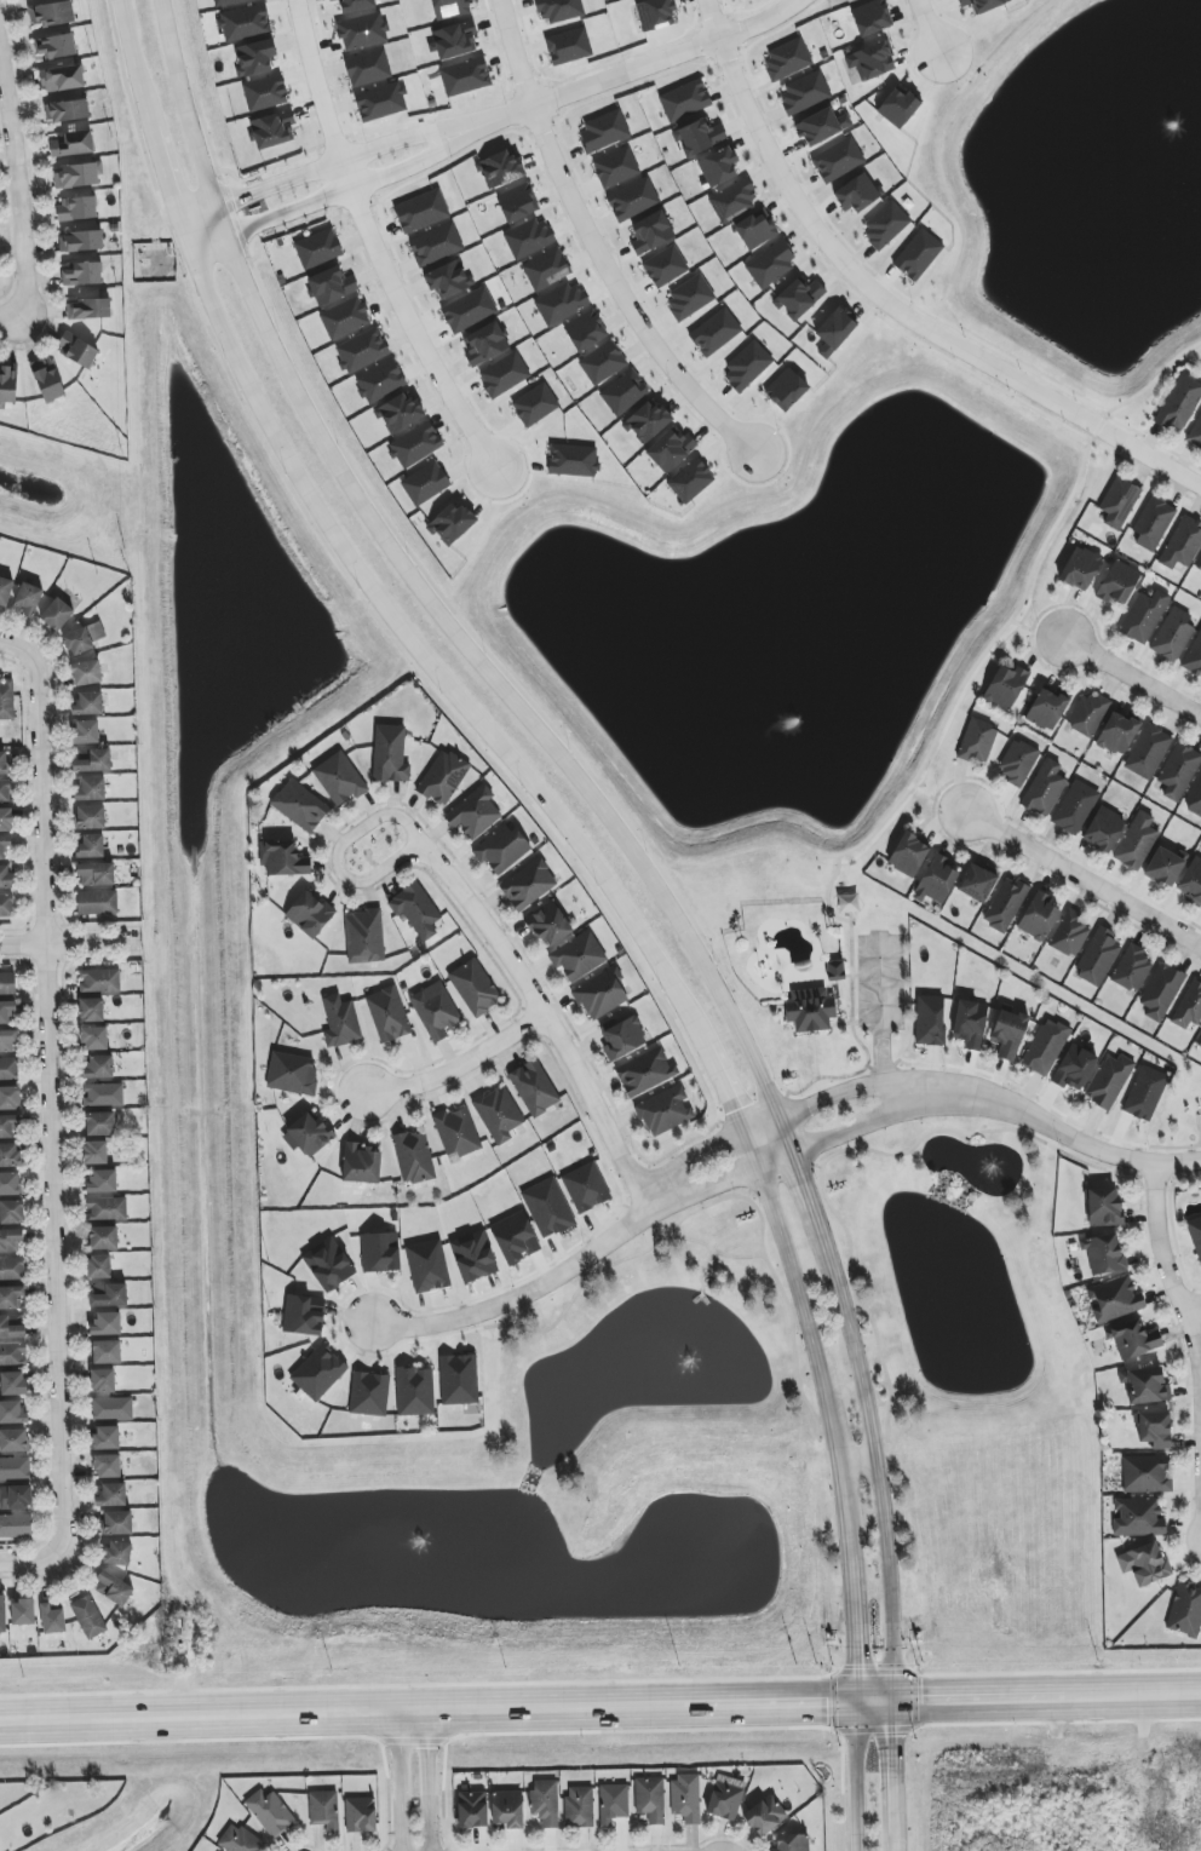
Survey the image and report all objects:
building: (231, 1)
building: (983, 4)
building: (355, 5)
building: (449, 8)
building: (558, 10)
building: (52, 13)
building: (655, 13)
building: (872, 17)
building: (245, 22)
road: (930, 28)
building: (362, 30)
building: (454, 40)
building: (54, 46)
building: (568, 46)
road: (966, 56)
building: (255, 57)
building: (787, 59)
building: (872, 61)
building: (368, 68)
road: (633, 68)
building: (465, 76)
building: (62, 79)
building: (264, 93)
building: (804, 93)
building: (685, 99)
building: (380, 102)
road: (182, 108)
building: (898, 108)
building: (67, 110)
building: (821, 126)
building: (272, 130)
building: (603, 132)
building: (699, 137)
building: (71, 144)
road: (936, 145)
building: (838, 160)
building: (718, 166)
road: (340, 167)
building: (615, 167)
building: (500, 169)
building: (77, 176)
road: (350, 192)
building: (857, 192)
road: (15, 199)
building: (633, 199)
building: (732, 201)
building: (517, 202)
building: (76, 208)
building: (421, 211)
road: (201, 220)
building: (885, 225)
road: (223, 226)
building: (757, 230)
building: (651, 232)
building: (528, 237)
building: (81, 241)
road: (370, 245)
building: (436, 245)
road: (593, 245)
road: (209, 246)
building: (317, 248)
building: (918, 254)
building: (771, 264)
building: (665, 266)
building: (546, 269)
building: (82, 274)
building: (448, 278)
building: (331, 286)
building: (690, 297)
building: (799, 298)
building: (562, 303)
road: (889, 305)
building: (88, 309)
building: (469, 310)
road: (11, 318)
building: (345, 318)
building: (585, 330)
building: (714, 332)
building: (834, 332)
building: (484, 343)
building: (76, 350)
building: (361, 350)
building: (603, 363)
building: (747, 367)
building: (504, 374)
building: (46, 380)
building: (380, 381)
building: (7, 385)
building: (786, 390)
building: (624, 392)
building: (1179, 403)
building: (535, 404)
building: (400, 413)
building: (647, 421)
building: (1196, 432)
building: (415, 445)
building: (671, 449)
building: (573, 460)
building: (690, 481)
building: (425, 483)
building: (1119, 502)
building: (450, 523)
building: (1153, 523)
building: (1182, 544)
building: (1199, 565)
building: (1080, 568)
building: (1117, 582)
building: (5, 591)
road: (379, 592)
building: (28, 599)
road: (1017, 608)
building: (57, 614)
building: (1143, 616)
road: (1036, 631)
building: (1173, 634)
building: (77, 642)
building: (1194, 656)
building: (86, 673)
road: (1133, 676)
road: (498, 683)
building: (1005, 686)
building: (6, 700)
building: (88, 703)
building: (1047, 707)
building: (1087, 714)
building: (86, 732)
building: (1117, 734)
building: (977, 741)
building: (1148, 752)
building: (390, 754)
building: (91, 760)
building: (2, 763)
building: (1017, 763)
building: (1178, 771)
building: (443, 777)
building: (339, 778)
building: (1044, 788)
building: (91, 789)
building: (5, 791)
road: (936, 799)
building: (1195, 799)
building: (299, 805)
building: (1075, 807)
building: (475, 812)
building: (90, 817)
building: (5, 820)
building: (1103, 829)
building: (1137, 841)
building: (4, 845)
building: (91, 846)
building: (501, 849)
road: (335, 855)
building: (908, 855)
building: (282, 858)
building: (1165, 867)
building: (96, 874)
building: (5, 876)
road: (1082, 878)
building: (936, 880)
building: (977, 881)
building: (1191, 881)
building: (528, 885)
road: (827, 893)
building: (97, 903)
building: (1005, 904)
building: (6, 906)
building: (415, 910)
building: (310, 914)
building: (1038, 918)
building: (548, 924)
building: (1069, 935)
building: (364, 937)
road: (67, 943)
building: (577, 956)
building: (1097, 958)
building: (1132, 968)
building: (835, 970)
road: (849, 975)
building: (99, 981)
parking lot: (879, 981)
building: (7, 983)
building: (475, 987)
building: (1161, 991)
building: (602, 994)
building: (1189, 1007)
building: (91, 1010)
building: (810, 1010)
building: (6, 1011)
building: (435, 1011)
road: (881, 1013)
building: (387, 1014)
road: (547, 1021)
building: (930, 1021)
building: (340, 1022)
road: (841, 1023)
building: (970, 1023)
building: (1009, 1033)
building: (94, 1039)
building: (622, 1039)
building: (7, 1041)
road: (860, 1042)
building: (1200, 1042)
building: (1045, 1047)
road: (812, 1053)
building: (98, 1067)
building: (1074, 1068)
building: (8, 1069)
road: (459, 1069)
building: (292, 1073)
building: (645, 1073)
building: (1109, 1081)
building: (534, 1087)
road: (46, 1093)
building: (1145, 1093)
building: (103, 1094)
building: (10, 1098)
building: (665, 1110)
building: (498, 1114)
building: (99, 1123)
road: (759, 1123)
building: (8, 1126)
road: (1047, 1126)
building: (456, 1132)
building: (308, 1134)
road: (789, 1134)
road: (749, 1148)
building: (94, 1152)
building: (10, 1155)
building: (414, 1157)
road: (777, 1157)
building: (361, 1163)
fountain: (1001, 1169)
building: (102, 1180)
building: (10, 1184)
building: (586, 1188)
road: (810, 1190)
building: (1103, 1207)
building: (107, 1208)
building: (547, 1208)
building: (11, 1212)
building: (1195, 1234)
building: (103, 1238)
building: (515, 1238)
building: (10, 1241)
building: (380, 1252)
building: (1103, 1254)
building: (473, 1257)
building: (328, 1264)
building: (427, 1266)
building: (98, 1267)
building: (11, 1269)
road: (792, 1269)
road: (1166, 1269)
road: (521, 1294)
building: (108, 1295)
building: (11, 1298)
building: (1114, 1299)
road: (1193, 1307)
building: (304, 1315)
building: (107, 1323)
building: (11, 1326)
building: (1133, 1340)
fountain: (688, 1347)
building: (107, 1352)
building: (12, 1355)
building: (318, 1372)
building: (459, 1379)
building: (102, 1380)
building: (13, 1384)
building: (1145, 1385)
building: (415, 1391)
building: (369, 1393)
building: (111, 1408)
building: (12, 1413)
road: (828, 1420)
building: (1154, 1429)
building: (107, 1437)
building: (13, 1441)
road: (873, 1461)
road: (856, 1464)
building: (107, 1466)
building: (15, 1468)
building: (1145, 1473)
building: (111, 1495)
building: (15, 1498)
road: (843, 1511)
building: (1137, 1517)
building: (116, 1523)
building: (15, 1525)
fountain: (415, 1552)
building: (117, 1553)
road: (24, 1563)
building: (1144, 1563)
building: (113, 1588)
building: (1185, 1610)
building: (22, 1613)
building: (2, 1615)
building: (88, 1617)
building: (52, 1619)
road: (850, 1627)
road: (600, 1703)
road: (898, 1766)
road: (854, 1775)
road: (403, 1780)
road: (426, 1780)
building: (685, 1798)
building: (650, 1799)
building: (725, 1800)
building: (545, 1803)
building: (613, 1803)
building: (579, 1806)
building: (472, 1809)
building: (508, 1809)
building: (323, 1810)
building: (270, 1812)
building: (361, 1815)
building: (765, 1816)
building: (792, 1843)
road: (900, 1843)

